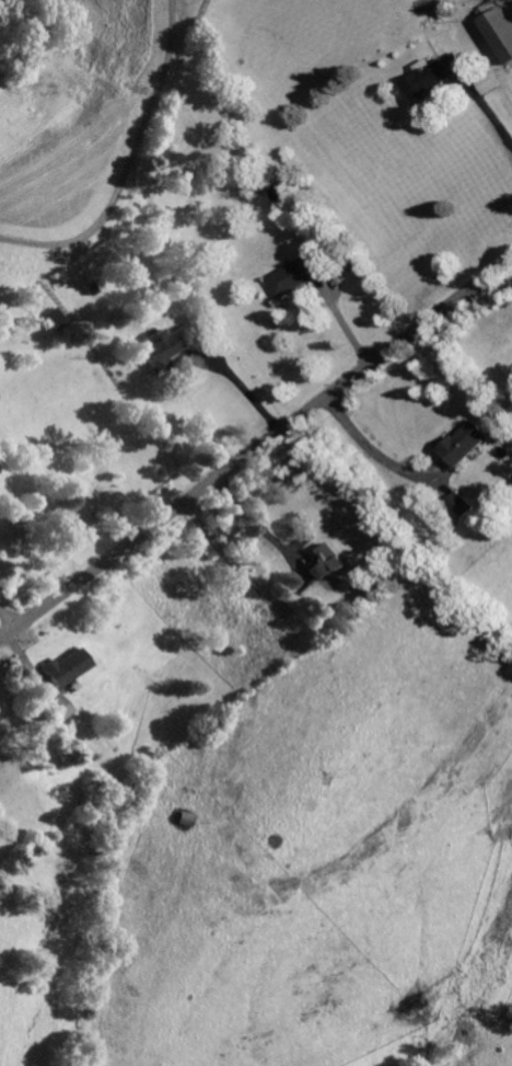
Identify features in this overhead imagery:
building: (500, 31)
building: (429, 77)
building: (484, 82)
road: (493, 124)
road: (126, 161)
building: (293, 275)
building: (54, 318)
building: (163, 345)
road: (241, 388)
building: (464, 443)
road: (366, 446)
road: (255, 450)
building: (456, 504)
road: (258, 525)
building: (329, 561)
road: (8, 618)
building: (65, 666)
building: (58, 706)

